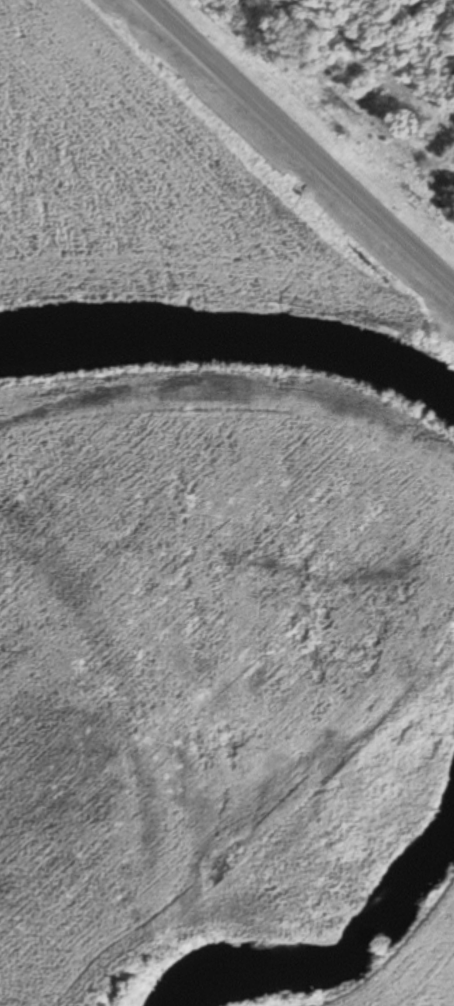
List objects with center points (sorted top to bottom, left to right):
road: (298, 144)
river: (231, 339)
river: (348, 925)

